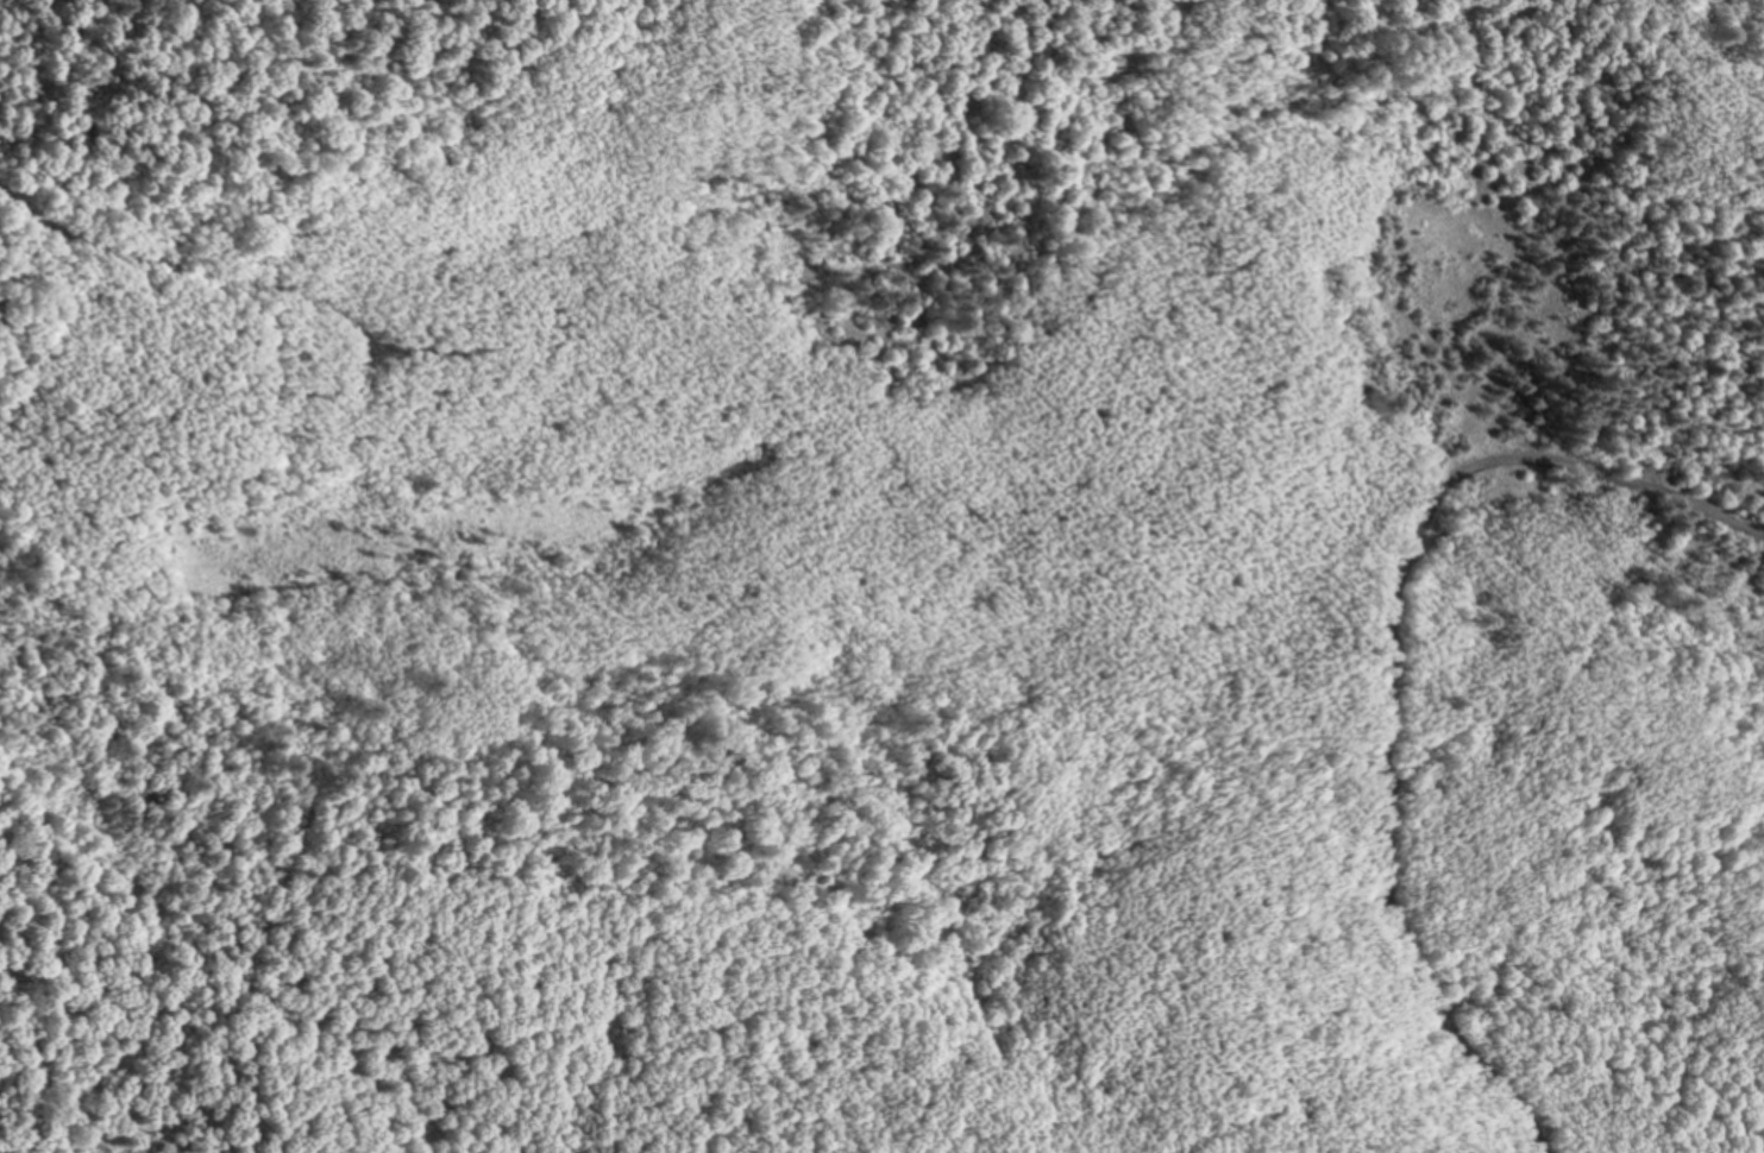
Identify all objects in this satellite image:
road: (190, 267)

